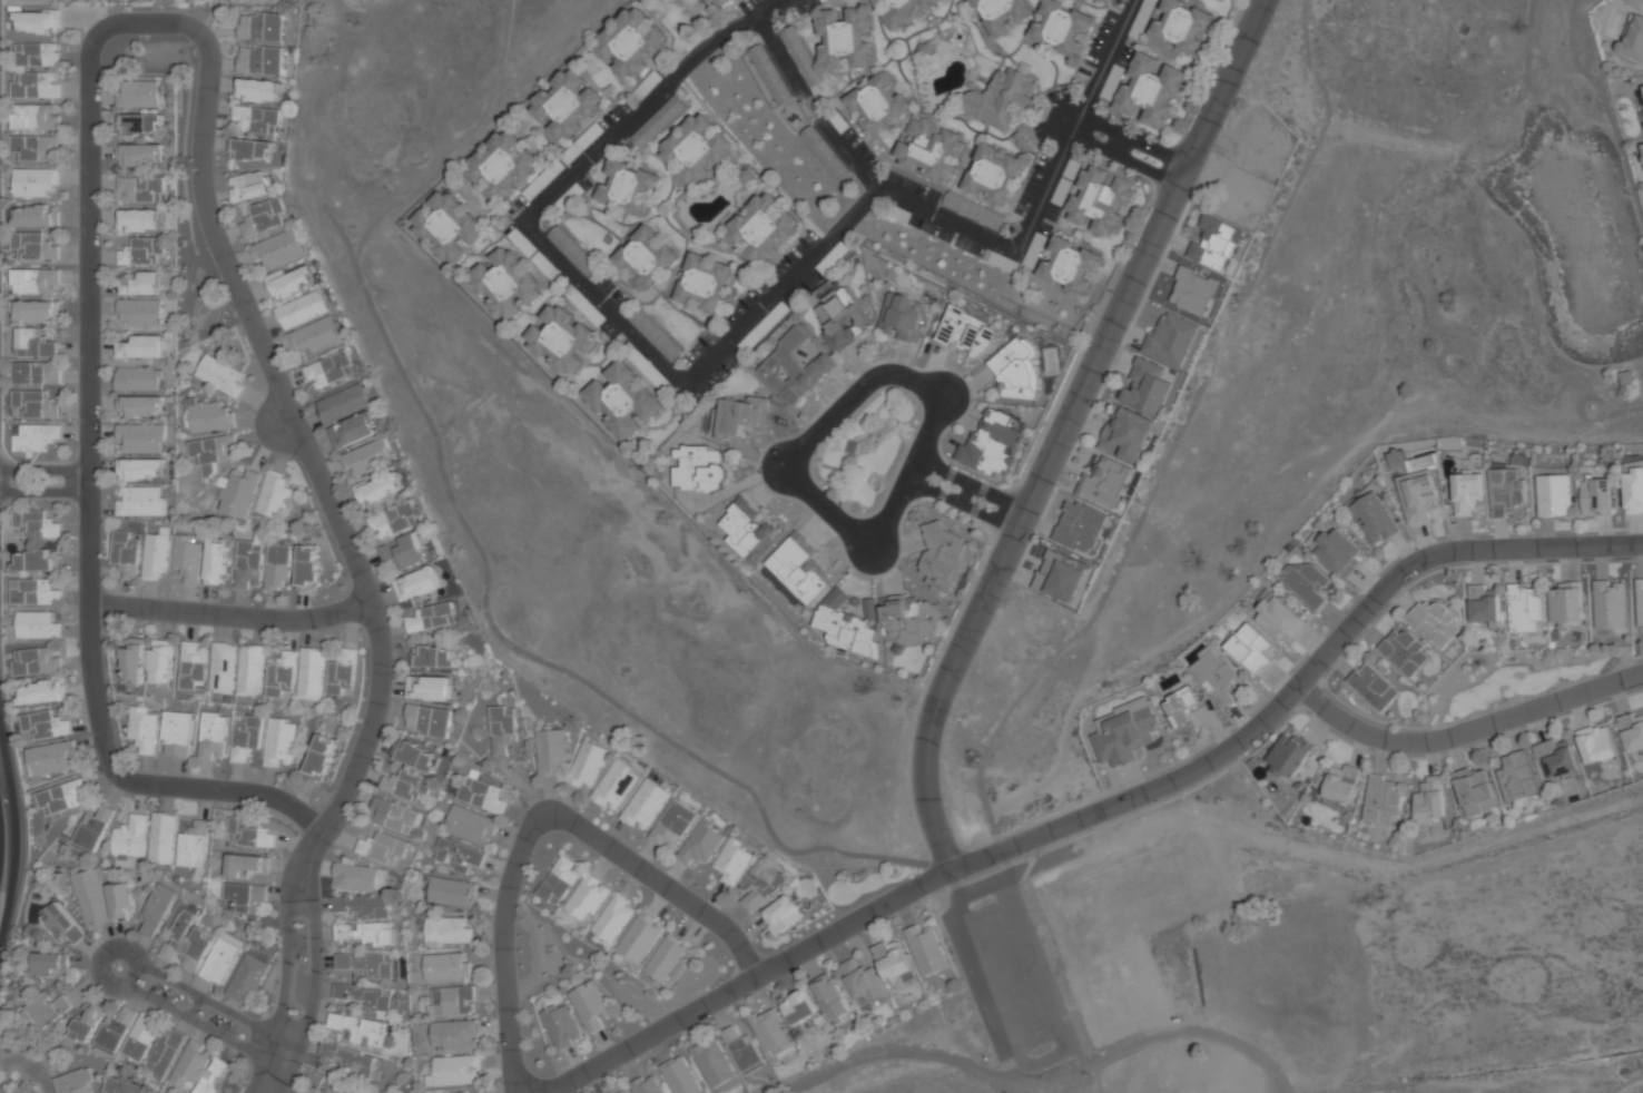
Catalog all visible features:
building: (1102, 0)
building: (1222, 0)
building: (712, 2)
building: (1636, 3)
parking lot: (748, 4)
parking lot: (804, 7)
building: (901, 11)
building: (1000, 13)
road: (208, 18)
parking lot: (1142, 18)
building: (37, 21)
building: (1181, 26)
building: (262, 27)
building: (1061, 27)
building: (845, 38)
building: (1633, 40)
building: (630, 42)
parking lot: (1096, 47)
building: (37, 53)
road: (779, 56)
building: (800, 56)
building: (260, 60)
parking lot: (1118, 72)
building: (769, 75)
building: (35, 85)
building: (1642, 87)
parking lot: (643, 88)
building: (257, 90)
building: (1150, 90)
building: (137, 95)
parking lot: (1059, 95)
building: (1001, 99)
building: (876, 102)
building: (564, 105)
building: (35, 117)
building: (256, 119)
building: (658, 122)
road: (1068, 122)
building: (140, 125)
parking lot: (594, 132)
parking lot: (1041, 134)
parking lot: (850, 137)
road: (1133, 140)
building: (1642, 145)
building: (36, 148)
building: (929, 148)
building: (254, 149)
building: (696, 149)
road: (846, 154)
building: (139, 155)
building: (824, 155)
road: (1124, 159)
building: (501, 166)
building: (992, 174)
building: (35, 181)
parking lot: (1032, 184)
parking lot: (538, 185)
building: (249, 186)
parking lot: (913, 186)
building: (627, 187)
building: (140, 189)
parking lot: (1062, 190)
parking lot: (571, 196)
building: (1099, 200)
building: (973, 210)
building: (36, 216)
building: (264, 217)
building: (140, 220)
parking lot: (918, 223)
building: (447, 226)
building: (763, 228)
building: (1214, 244)
parking lot: (1036, 245)
building: (33, 246)
building: (278, 249)
building: (142, 252)
building: (574, 253)
parking lot: (533, 254)
parking lot: (793, 254)
parking lot: (985, 254)
building: (643, 257)
parking lot: (821, 269)
building: (33, 280)
building: (289, 282)
building: (504, 282)
building: (704, 283)
building: (140, 284)
parking lot: (606, 284)
parking lot: (621, 301)
parking lot: (745, 303)
building: (302, 309)
parking lot: (588, 309)
building: (36, 311)
building: (140, 313)
building: (903, 316)
building: (842, 318)
parking lot: (768, 323)
building: (968, 332)
road: (735, 333)
building: (656, 335)
building: (316, 336)
building: (561, 338)
building: (1171, 339)
building: (33, 343)
building: (145, 346)
parking lot: (699, 346)
building: (807, 352)
parking lot: (646, 366)
building: (329, 368)
building: (791, 370)
building: (1019, 370)
building: (29, 373)
building: (220, 375)
building: (53, 376)
parking lot: (716, 377)
building: (138, 378)
building: (1148, 387)
building: (622, 398)
road: (942, 398)
building: (343, 403)
building: (32, 404)
building: (139, 406)
building: (209, 416)
building: (736, 416)
road: (824, 425)
building: (353, 430)
road: (1063, 430)
building: (1127, 433)
building: (36, 436)
building: (140, 439)
building: (991, 443)
road: (88, 451)
building: (213, 452)
building: (367, 456)
building: (1396, 460)
building: (699, 467)
road: (788, 467)
road: (43, 470)
building: (140, 470)
building: (1104, 481)
road: (971, 485)
building: (1634, 486)
building: (380, 489)
building: (1507, 491)
road: (43, 492)
building: (237, 492)
building: (1467, 493)
building: (273, 494)
building: (1554, 494)
building: (1418, 495)
building: (1596, 496)
building: (139, 501)
road: (962, 504)
building: (1375, 518)
building: (394, 520)
building: (36, 523)
building: (1081, 526)
building: (746, 531)
road: (870, 542)
building: (1338, 551)
building: (404, 552)
building: (126, 553)
building: (155, 555)
building: (187, 557)
building: (942, 558)
building: (35, 560)
building: (216, 561)
building: (247, 562)
building: (277, 568)
building: (307, 568)
building: (798, 568)
road: (360, 574)
building: (1059, 575)
building: (1307, 582)
building: (419, 583)
building: (36, 592)
building: (1640, 601)
building: (1610, 603)
building: (1484, 604)
building: (1567, 605)
building: (870, 608)
building: (1524, 609)
road: (229, 616)
building: (1278, 616)
building: (431, 618)
building: (909, 619)
building: (1435, 623)
building: (36, 624)
building: (845, 627)
building: (1251, 648)
building: (1405, 651)
building: (434, 657)
building: (36, 661)
building: (130, 661)
building: (159, 662)
building: (191, 666)
building: (222, 668)
building: (248, 670)
street lamp: (1327, 671)
building: (279, 673)
building: (309, 673)
building: (341, 673)
building: (1216, 676)
building: (430, 687)
building: (1374, 687)
building: (40, 692)
building: (1182, 709)
building: (427, 719)
building: (45, 726)
building: (141, 728)
building: (502, 729)
road: (1465, 731)
building: (1632, 731)
building: (1123, 732)
building: (175, 735)
building: (211, 737)
building: (245, 739)
building: (278, 741)
building: (1596, 744)
building: (551, 751)
building: (1288, 755)
building: (319, 756)
building: (415, 756)
building: (1557, 758)
building: (51, 759)
road: (3, 760)
building: (587, 764)
building: (1516, 776)
building: (1341, 784)
building: (406, 785)
building: (616, 785)
building: (1474, 790)
building: (481, 795)
building: (62, 797)
building: (1381, 800)
building: (1428, 800)
street lamp: (1157, 801)
building: (645, 804)
road: (1105, 809)
building: (393, 815)
road: (535, 823)
building: (672, 824)
building: (469, 825)
building: (92, 830)
street lamp: (954, 830)
building: (249, 833)
road: (16, 836)
building: (130, 838)
building: (163, 838)
building: (700, 843)
building: (194, 845)
building: (382, 847)
building: (459, 856)
street lamp: (532, 856)
building: (732, 861)
building: (244, 865)
building: (360, 877)
building: (559, 880)
building: (759, 886)
building: (451, 892)
building: (245, 897)
building: (589, 897)
building: (101, 898)
building: (363, 905)
building: (155, 910)
building: (781, 915)
building: (614, 917)
building: (62, 924)
building: (447, 929)
building: (176, 932)
building: (367, 933)
building: (641, 937)
building: (926, 948)
building: (211, 955)
building: (667, 958)
building: (892, 959)
building: (48, 963)
building: (363, 964)
building: (445, 966)
building: (248, 976)
building: (650, 981)
building: (863, 984)
building: (364, 997)
building: (830, 997)
building: (453, 1001)
building: (588, 1005)
building: (798, 1007)
road: (201, 1008)
building: (46, 1010)
building: (86, 1024)
building: (561, 1025)
building: (358, 1028)
building: (114, 1031)
building: (770, 1031)
building: (455, 1034)
building: (140, 1037)
building: (742, 1051)
building: (166, 1053)
building: (357, 1061)
building: (712, 1062)
building: (190, 1065)
building: (453, 1071)
street lamp: (1090, 1074)
building: (679, 1075)
building: (215, 1076)
street lamp: (547, 1077)
building: (76, 1082)
building: (1241, 1083)
building: (646, 1085)
building: (120, 1086)
building: (26, 1087)
building: (315, 1090)
building: (462, 1092)
building: (611, 1092)
building: (624, 1092)

